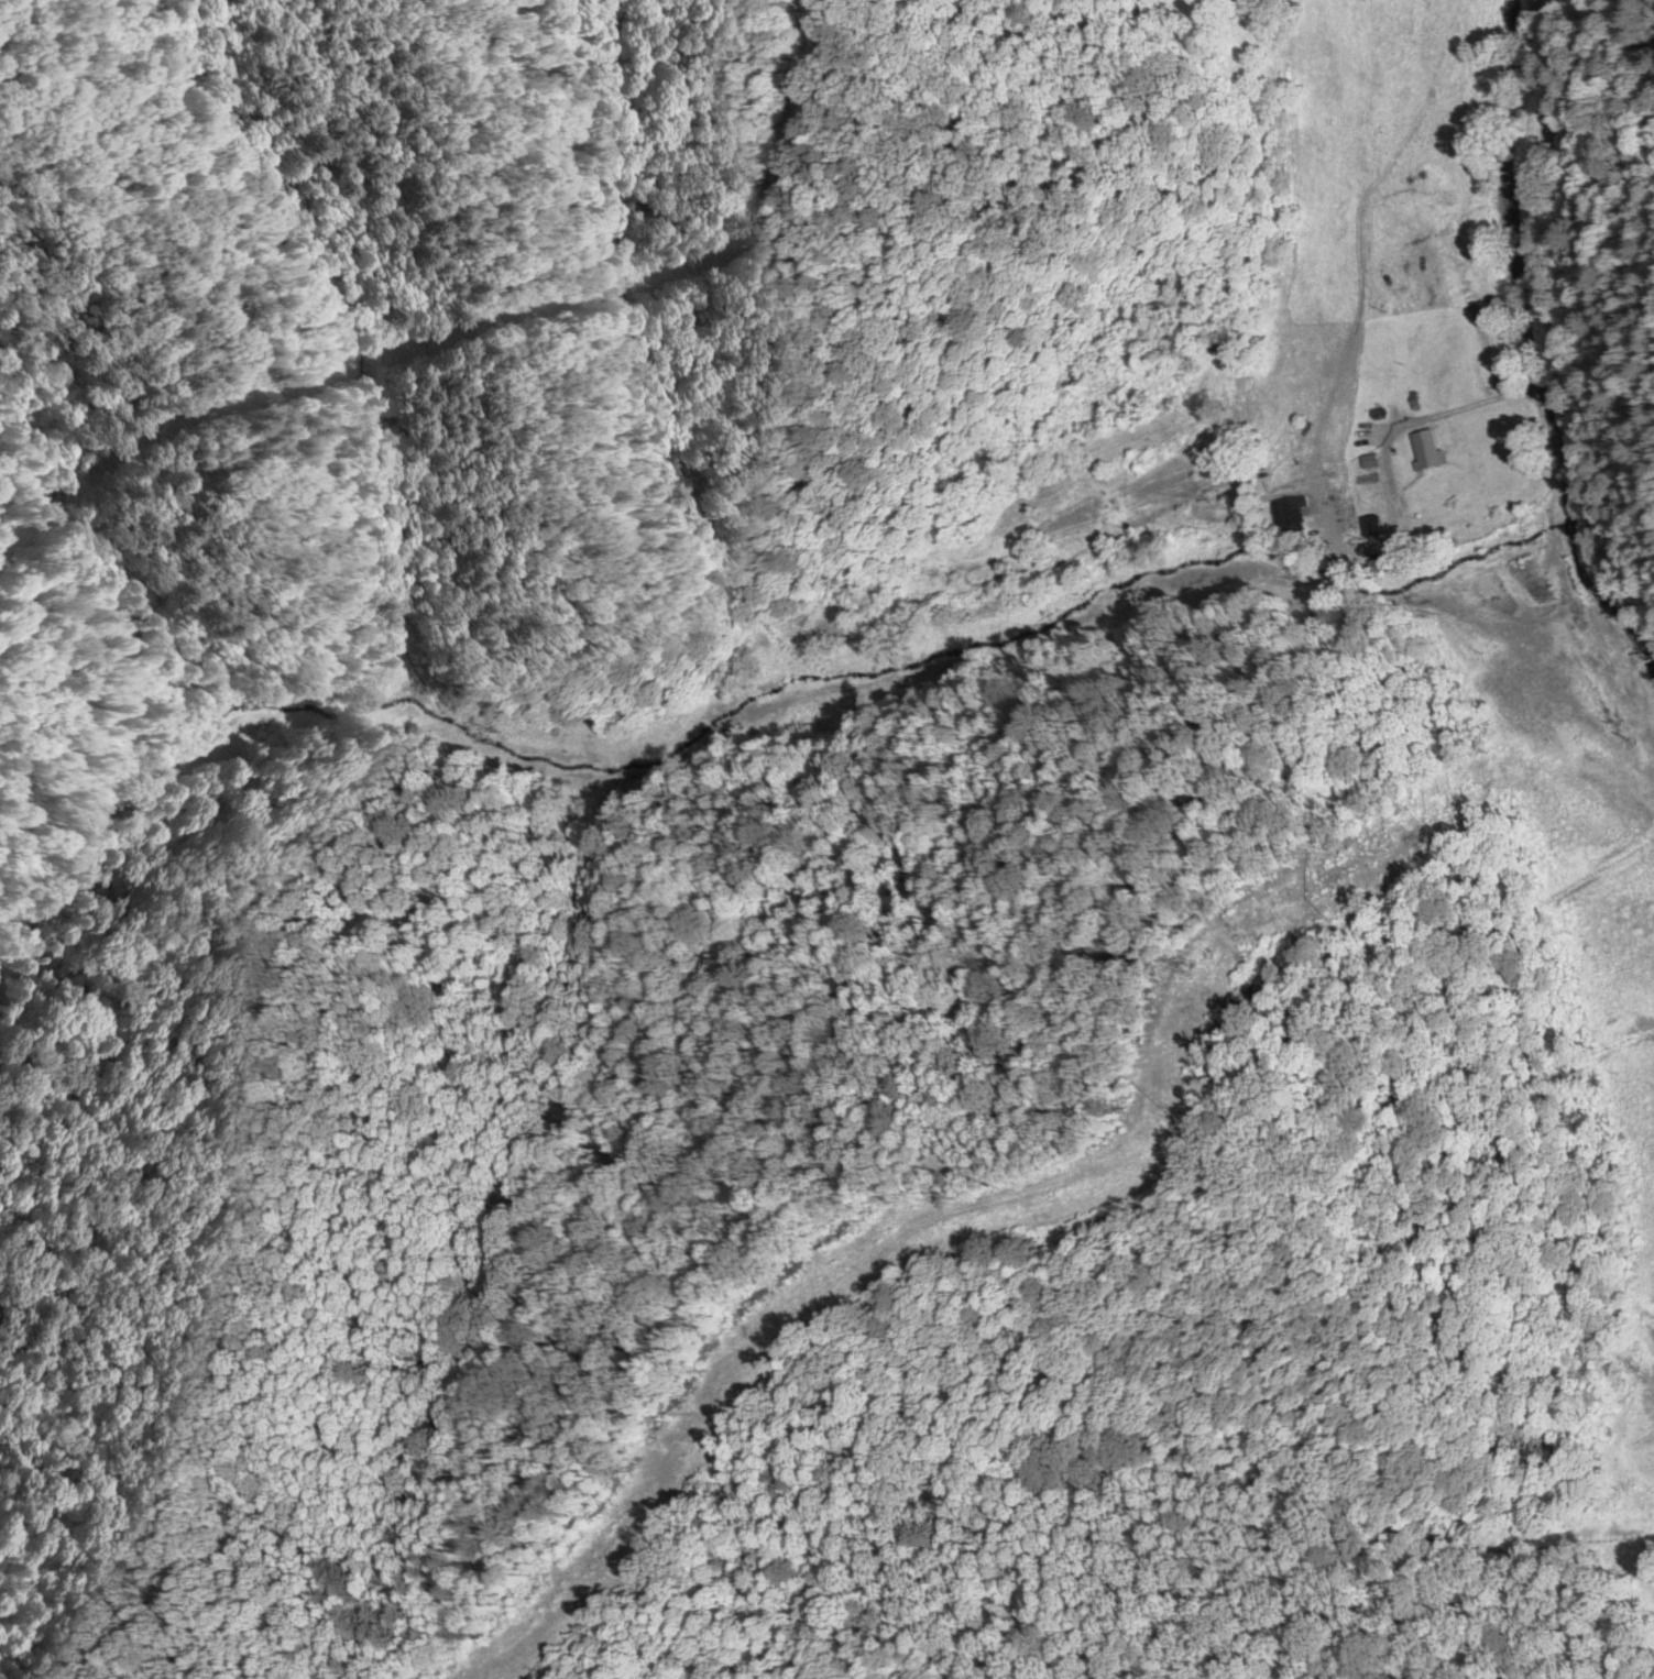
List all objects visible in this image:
building: (1411, 355)
road: (1466, 383)
building: (1423, 446)
building: (1289, 513)
building: (1369, 523)

